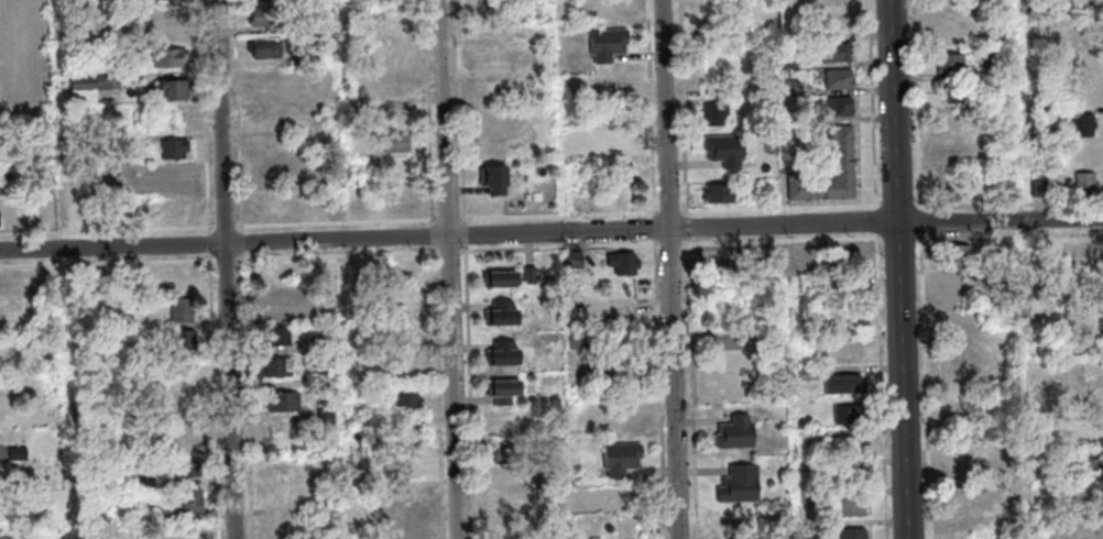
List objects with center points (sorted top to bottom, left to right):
building: (172, 0)
road: (258, 2)
building: (576, 2)
building: (1079, 4)
building: (1029, 7)
building: (615, 8)
building: (264, 20)
building: (172, 26)
building: (718, 29)
road: (251, 32)
building: (1071, 41)
building: (608, 42)
building: (114, 50)
building: (265, 52)
building: (838, 55)
park: (25, 57)
building: (171, 58)
building: (794, 63)
road: (269, 64)
building: (493, 64)
building: (953, 66)
road: (461, 78)
building: (841, 82)
building: (95, 86)
building: (177, 90)
building: (795, 90)
building: (962, 96)
road: (876, 105)
road: (652, 108)
road: (685, 108)
road: (427, 110)
building: (842, 110)
building: (716, 113)
road: (239, 116)
building: (786, 116)
road: (209, 117)
building: (1086, 129)
road: (416, 130)
building: (842, 136)
building: (395, 142)
building: (727, 150)
building: (177, 151)
building: (845, 155)
building: (0, 165)
building: (270, 170)
building: (618, 170)
building: (847, 173)
building: (86, 177)
building: (175, 177)
building: (495, 178)
building: (1089, 187)
building: (812, 190)
road: (465, 191)
building: (847, 191)
building: (1042, 191)
building: (719, 193)
building: (272, 205)
road: (892, 206)
road: (784, 209)
road: (671, 212)
road: (559, 216)
building: (0, 219)
road: (449, 220)
road: (878, 222)
road: (338, 223)
road: (227, 227)
road: (688, 227)
road: (657, 228)
road: (108, 231)
road: (550, 232)
road: (467, 235)
road: (892, 237)
road: (882, 238)
road: (244, 242)
road: (686, 242)
road: (673, 243)
road: (211, 244)
road: (565, 246)
building: (957, 253)
building: (771, 254)
road: (244, 255)
building: (842, 256)
road: (242, 258)
building: (577, 258)
building: (723, 258)
road: (228, 260)
road: (183, 261)
building: (625, 262)
road: (69, 268)
road: (228, 268)
road: (454, 268)
road: (673, 269)
road: (902, 269)
building: (531, 275)
building: (501, 279)
building: (955, 280)
road: (245, 290)
building: (275, 302)
building: (321, 308)
building: (182, 310)
building: (1084, 311)
building: (503, 313)
building: (1059, 332)
building: (277, 337)
building: (187, 340)
building: (580, 340)
building: (729, 340)
building: (1089, 344)
building: (325, 345)
building: (140, 351)
building: (504, 353)
building: (276, 367)
building: (624, 370)
building: (808, 374)
building: (1091, 375)
building: (329, 380)
building: (845, 384)
road: (695, 386)
road: (883, 386)
road: (662, 389)
building: (505, 391)
road: (471, 392)
road: (216, 396)
building: (286, 402)
building: (189, 403)
building: (405, 403)
building: (850, 415)
building: (327, 416)
building: (140, 418)
building: (11, 419)
building: (363, 428)
road: (250, 430)
building: (736, 432)
building: (185, 433)
building: (412, 435)
building: (543, 444)
building: (19, 453)
building: (510, 453)
building: (622, 458)
building: (1091, 458)
building: (962, 460)
building: (411, 465)
building: (189, 468)
building: (1047, 473)
building: (504, 477)
building: (852, 477)
building: (148, 481)
building: (741, 484)
building: (968, 496)
building: (809, 498)
building: (192, 499)
building: (621, 502)
building: (852, 508)
building: (153, 514)
building: (854, 535)

